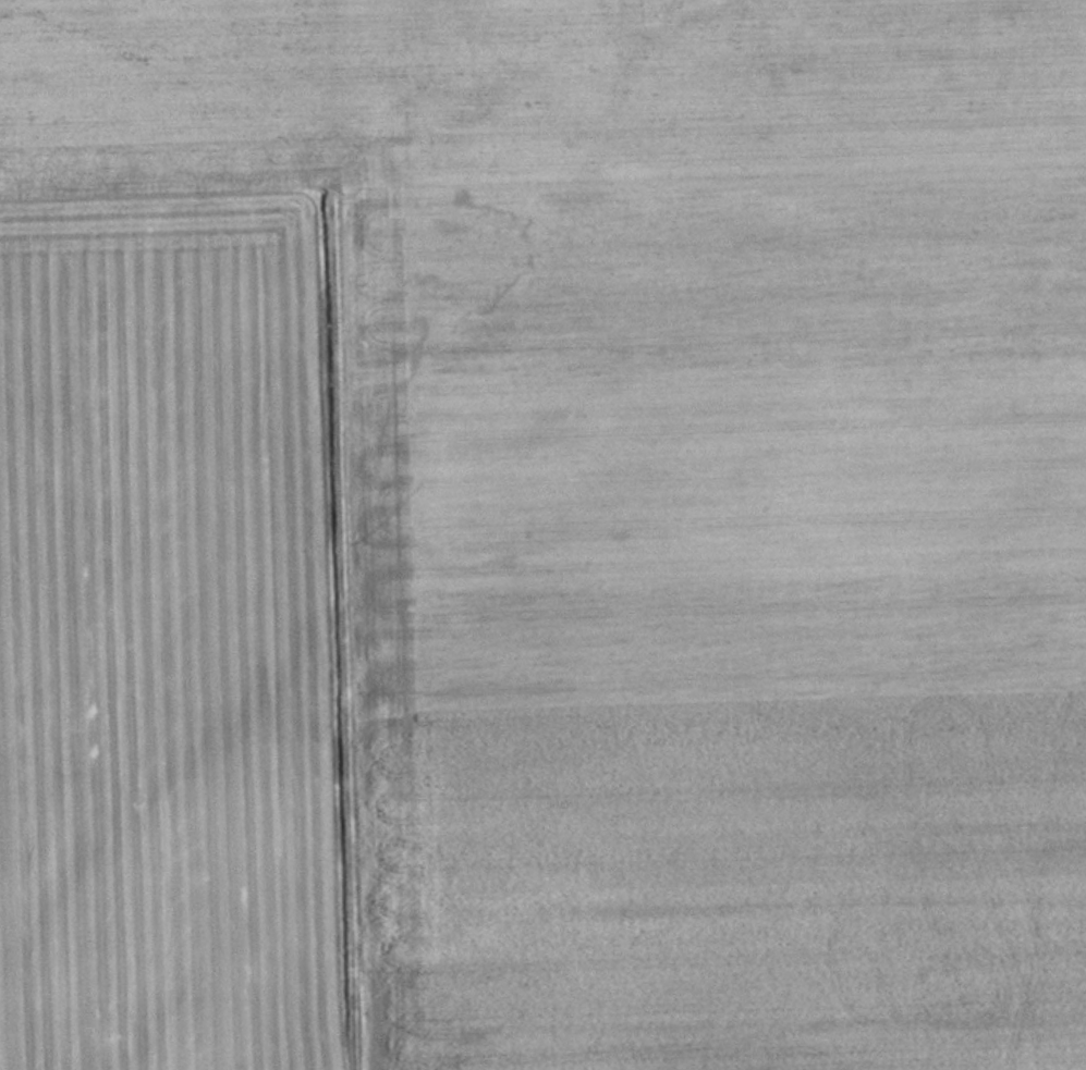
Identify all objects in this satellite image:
road: (344, 534)

